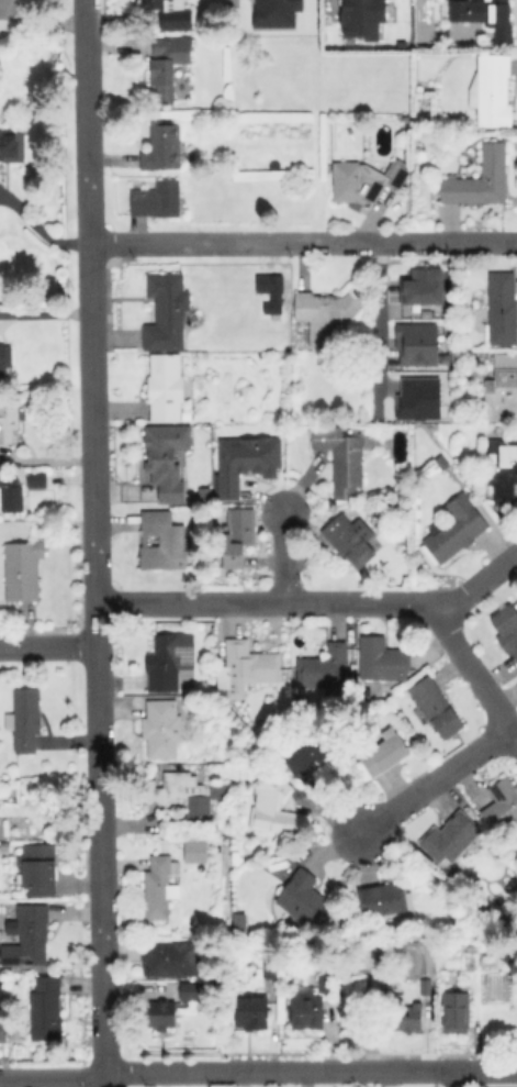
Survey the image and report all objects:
road: (10, 4)
road: (323, 4)
road: (8, 10)
building: (437, 10)
building: (170, 13)
building: (483, 14)
road: (52, 16)
building: (363, 18)
building: (403, 45)
building: (168, 65)
building: (491, 90)
road: (89, 122)
building: (9, 146)
building: (161, 146)
building: (479, 178)
building: (363, 181)
building: (155, 199)
road: (43, 229)
road: (304, 243)
building: (270, 284)
building: (423, 286)
road: (92, 297)
building: (502, 308)
building: (166, 311)
road: (46, 312)
building: (327, 313)
road: (378, 315)
building: (417, 342)
building: (4, 357)
building: (165, 386)
building: (502, 389)
building: (415, 398)
building: (9, 420)
building: (165, 456)
building: (341, 458)
building: (244, 461)
building: (441, 462)
building: (503, 466)
building: (35, 478)
building: (10, 492)
building: (454, 529)
building: (190, 531)
building: (237, 535)
building: (348, 539)
building: (161, 541)
road: (280, 556)
building: (22, 569)
road: (313, 601)
building: (188, 624)
building: (507, 626)
road: (47, 643)
rooftop solar panel: (183, 654)
building: (382, 658)
building: (162, 663)
building: (249, 664)
building: (324, 667)
road: (473, 672)
building: (189, 701)
building: (436, 706)
road: (97, 717)
building: (26, 720)
building: (161, 728)
building: (385, 754)
building: (305, 757)
road: (434, 778)
building: (273, 785)
rooftop solar panel: (494, 792)
building: (182, 795)
building: (502, 806)
building: (450, 836)
building: (192, 850)
building: (38, 868)
building: (159, 885)
building: (302, 896)
building: (382, 899)
building: (3, 908)
building: (26, 934)
building: (170, 960)
building: (270, 969)
building: (323, 981)
building: (423, 985)
building: (193, 992)
building: (45, 1008)
building: (305, 1011)
building: (250, 1012)
building: (160, 1013)
building: (456, 1013)
building: (403, 1014)
building: (3, 1031)
road: (485, 1069)
road: (278, 1071)
road: (52, 1078)
road: (454, 1078)

